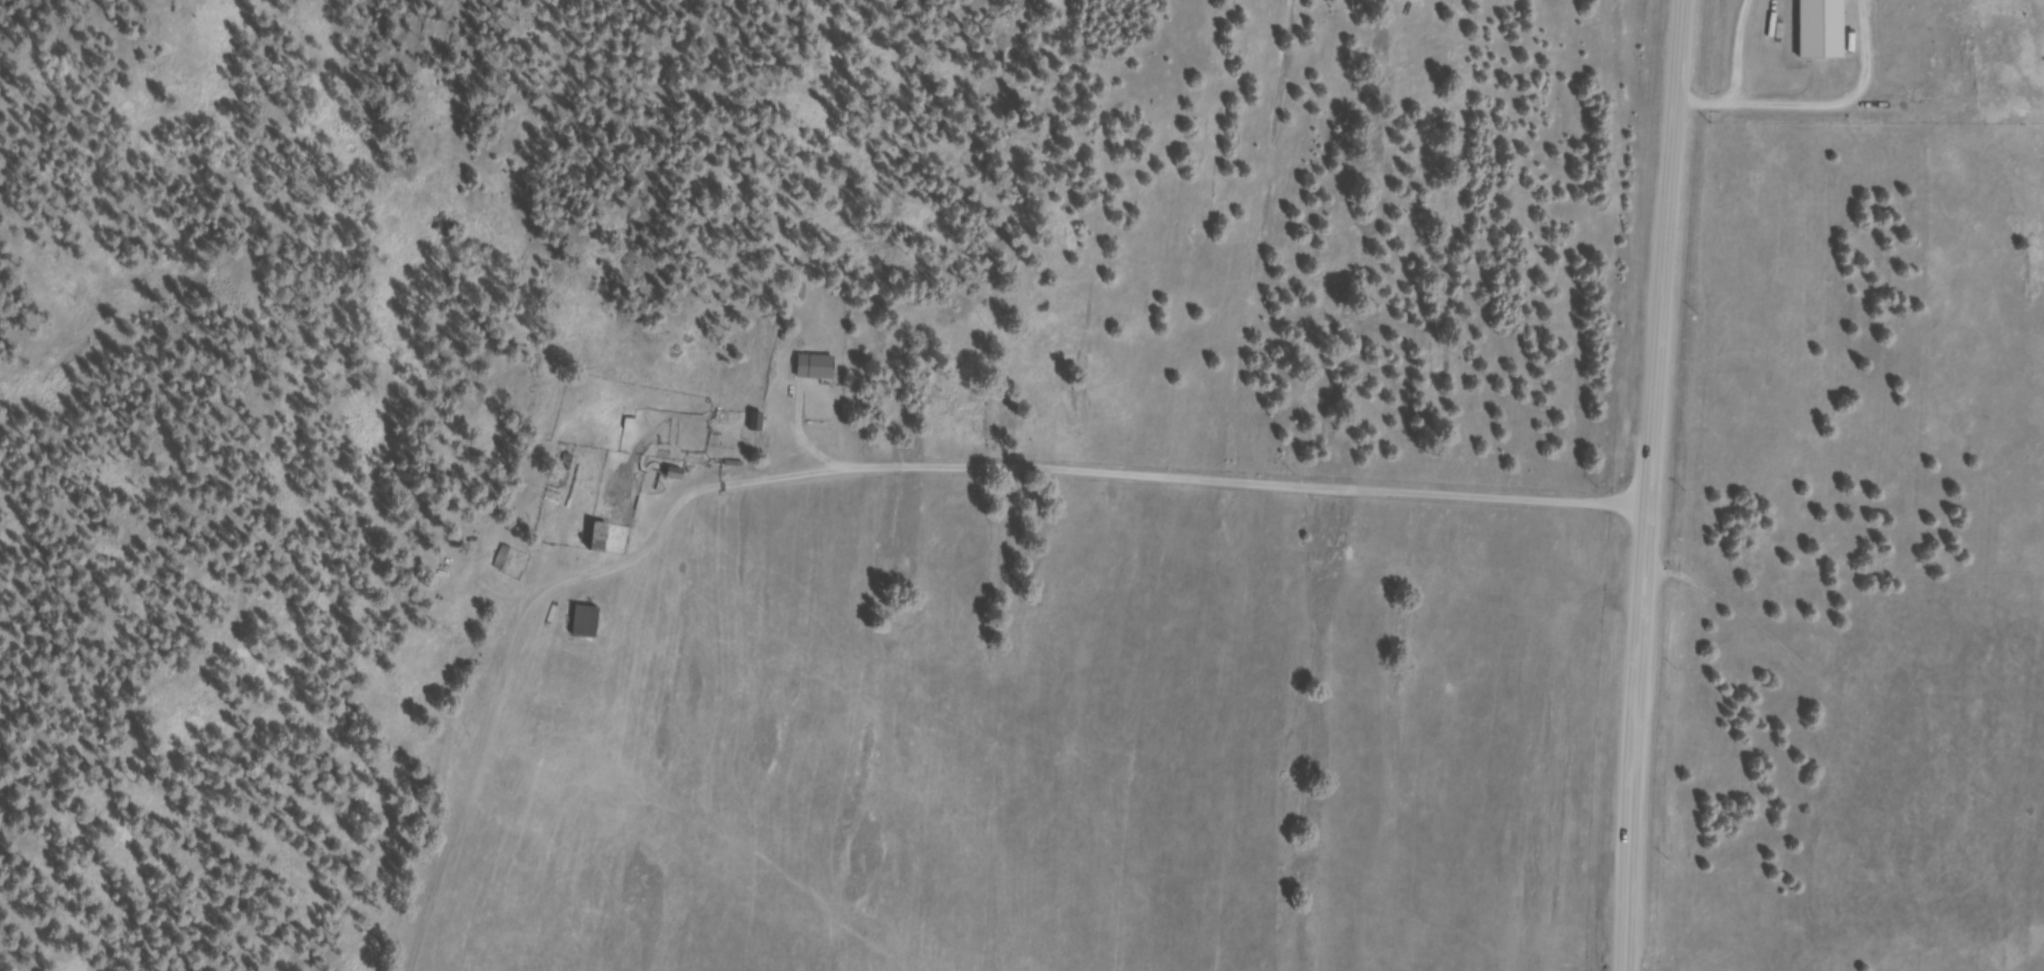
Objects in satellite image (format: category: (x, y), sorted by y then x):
building: (1826, 29)
building: (820, 369)
road: (1644, 485)
road: (1211, 490)
building: (506, 562)
building: (591, 624)

